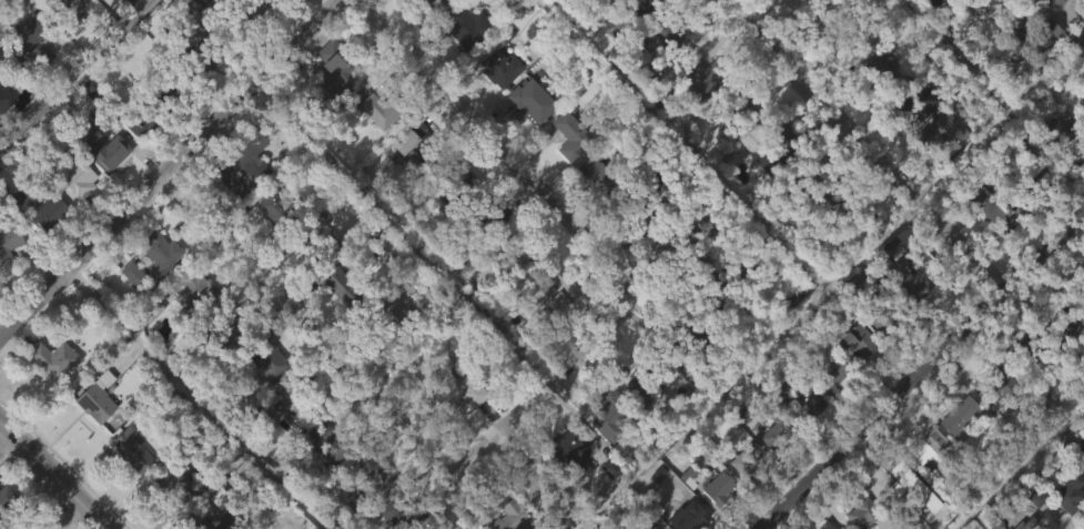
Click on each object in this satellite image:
building: (422, 2)
building: (604, 2)
building: (131, 3)
building: (1076, 4)
building: (257, 6)
building: (942, 6)
building: (644, 7)
building: (1017, 8)
building: (815, 10)
building: (95, 11)
building: (215, 12)
building: (288, 12)
building: (70, 13)
building: (773, 17)
building: (423, 22)
building: (233, 27)
building: (466, 28)
building: (128, 33)
building: (662, 35)
building: (852, 37)
building: (63, 39)
building: (30, 40)
building: (630, 40)
building: (796, 40)
building: (255, 45)
building: (982, 48)
building: (190, 50)
building: (1037, 53)
building: (204, 57)
building: (2, 62)
building: (502, 67)
building: (458, 69)
building: (875, 73)
building: (337, 74)
building: (701, 78)
building: (646, 81)
building: (24, 88)
building: (170, 89)
building: (4, 95)
building: (534, 100)
building: (909, 102)
building: (1034, 103)
building: (201, 104)
building: (333, 105)
building: (740, 108)
building: (385, 109)
building: (494, 110)
building: (875, 111)
building: (143, 116)
building: (1080, 118)
building: (697, 121)
building: (4, 131)
building: (1058, 131)
building: (574, 134)
building: (527, 142)
building: (419, 144)
road: (857, 145)
building: (101, 147)
building: (770, 147)
building: (915, 147)
building: (373, 152)
building: (135, 162)
building: (1081, 162)
building: (245, 166)
road: (171, 169)
building: (608, 172)
building: (1027, 173)
building: (777, 174)
building: (807, 175)
building: (567, 177)
building: (74, 180)
building: (456, 183)
building: (401, 184)
road: (540, 184)
building: (100, 191)
building: (239, 207)
building: (639, 208)
building: (994, 208)
building: (277, 211)
building: (47, 212)
building: (844, 212)
building: (484, 215)
building: (591, 215)
building: (70, 220)
road: (402, 231)
building: (686, 231)
building: (315, 237)
building: (9, 245)
building: (267, 247)
building: (984, 247)
building: (160, 251)
road: (1043, 252)
building: (523, 253)
building: (43, 254)
building: (314, 269)
building: (7, 285)
building: (343, 285)
building: (909, 285)
building: (885, 287)
building: (195, 289)
building: (155, 293)
building: (712, 293)
building: (1078, 295)
building: (553, 296)
building: (787, 298)
building: (870, 303)
building: (384, 306)
building: (128, 315)
building: (900, 319)
building: (1061, 323)
building: (336, 325)
building: (225, 326)
building: (185, 328)
building: (550, 335)
building: (1076, 336)
building: (707, 339)
building: (855, 339)
building: (1026, 347)
building: (148, 350)
building: (698, 353)
building: (266, 357)
building: (58, 358)
road: (352, 372)
building: (827, 372)
building: (649, 374)
building: (450, 384)
building: (853, 384)
building: (997, 386)
building: (1020, 388)
building: (291, 399)
building: (50, 400)
building: (265, 400)
building: (799, 400)
building: (98, 404)
road: (880, 410)
building: (614, 413)
building: (825, 415)
building: (959, 415)
building: (632, 423)
building: (455, 428)
building: (777, 428)
building: (335, 440)
building: (91, 444)
building: (794, 444)
building: (928, 445)
building: (568, 447)
building: (281, 448)
building: (1081, 448)
building: (134, 449)
building: (954, 456)
building: (746, 459)
road: (1014, 459)
building: (1083, 460)
road: (52, 475)
building: (534, 476)
building: (371, 477)
building: (323, 479)
building: (181, 480)
building: (717, 486)
building: (905, 486)
building: (564, 487)
building: (128, 490)
building: (1068, 492)
building: (4, 495)
building: (738, 505)
building: (369, 510)
building: (401, 511)
building: (861, 512)
building: (527, 513)
building: (685, 516)
building: (510, 517)
building: (163, 518)
building: (20, 519)
building: (216, 521)
building: (715, 522)
building: (1022, 523)
building: (824, 526)

